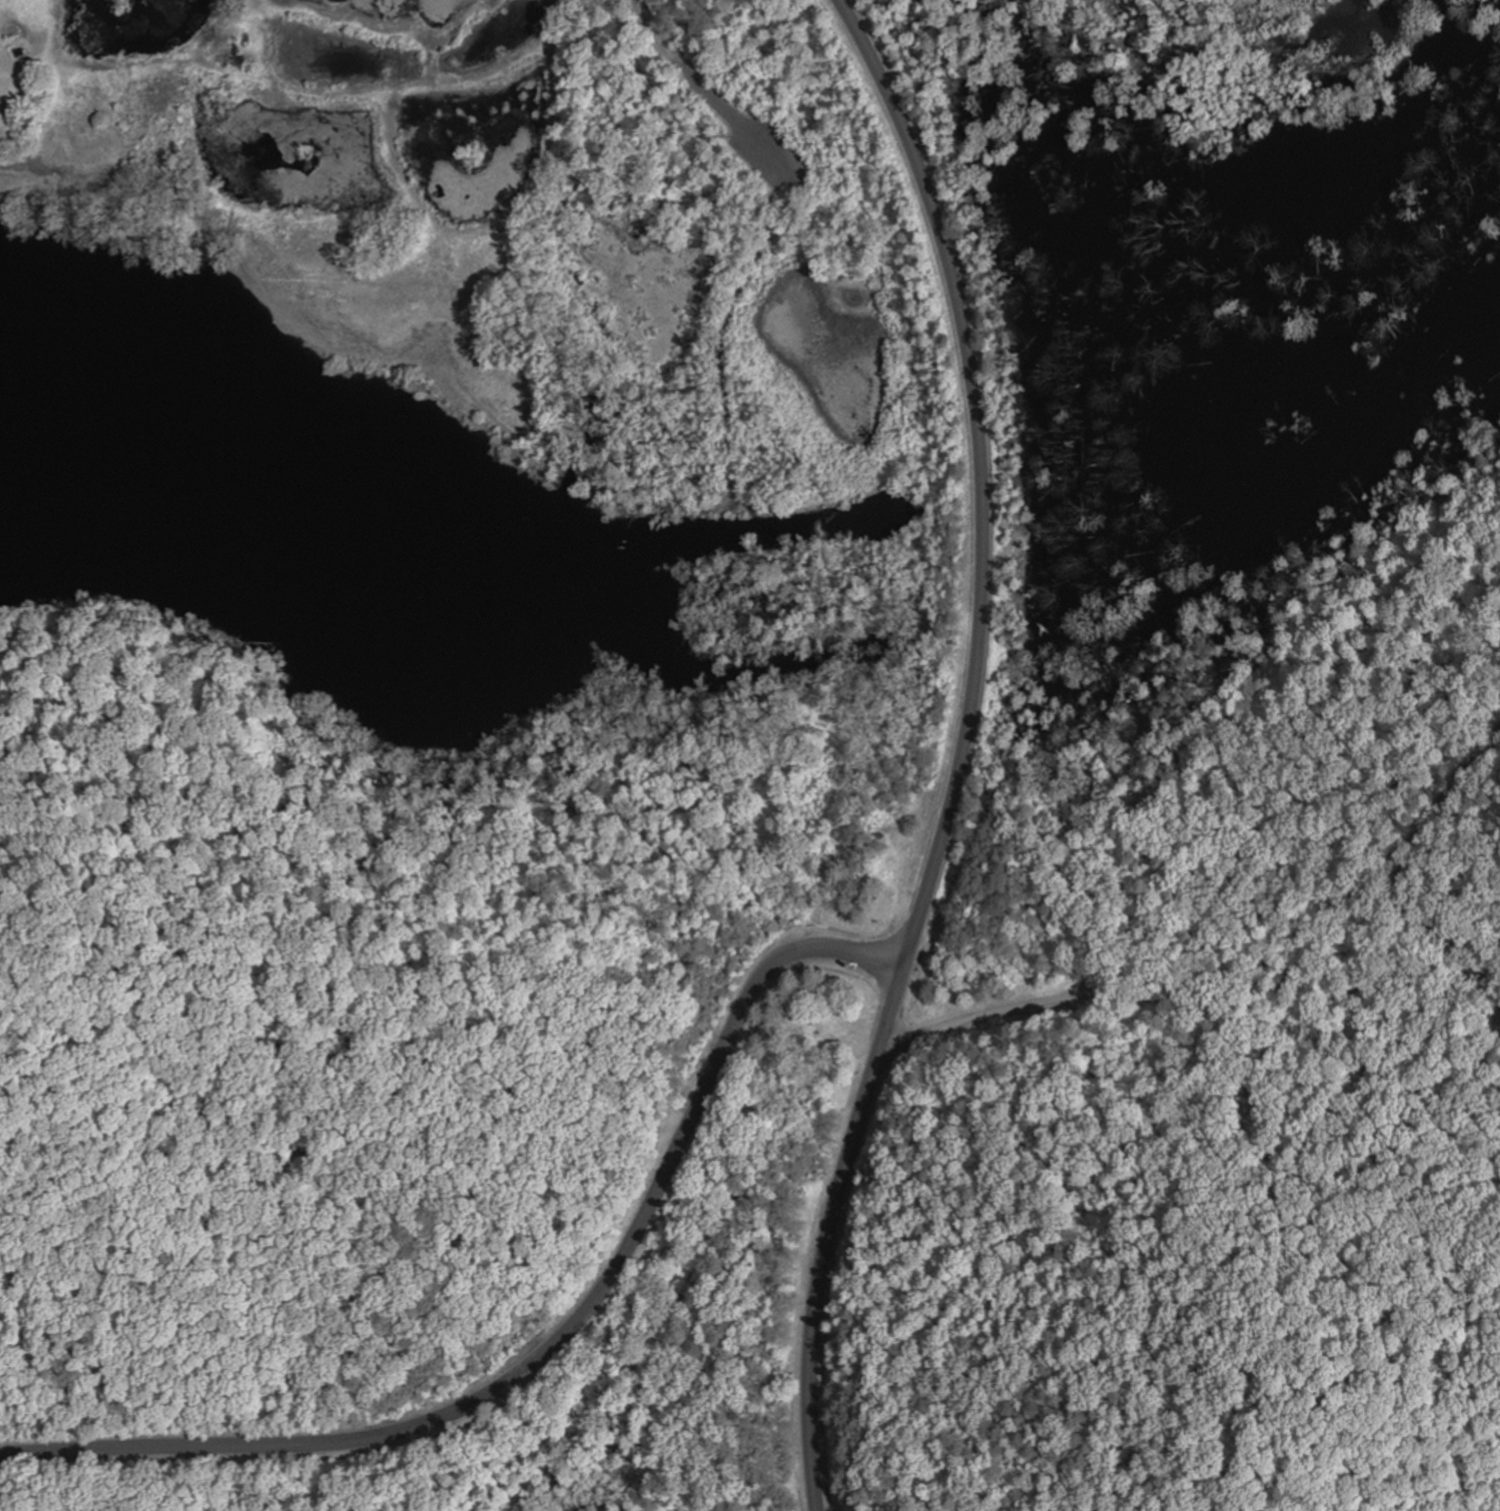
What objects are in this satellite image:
road: (1455, 83)
road: (702, 86)
road: (637, 124)
parking lot: (767, 149)
road: (632, 189)
pier: (627, 231)
road: (725, 382)
road: (963, 752)
road: (1397, 872)
road: (1194, 1002)
road: (554, 1345)

